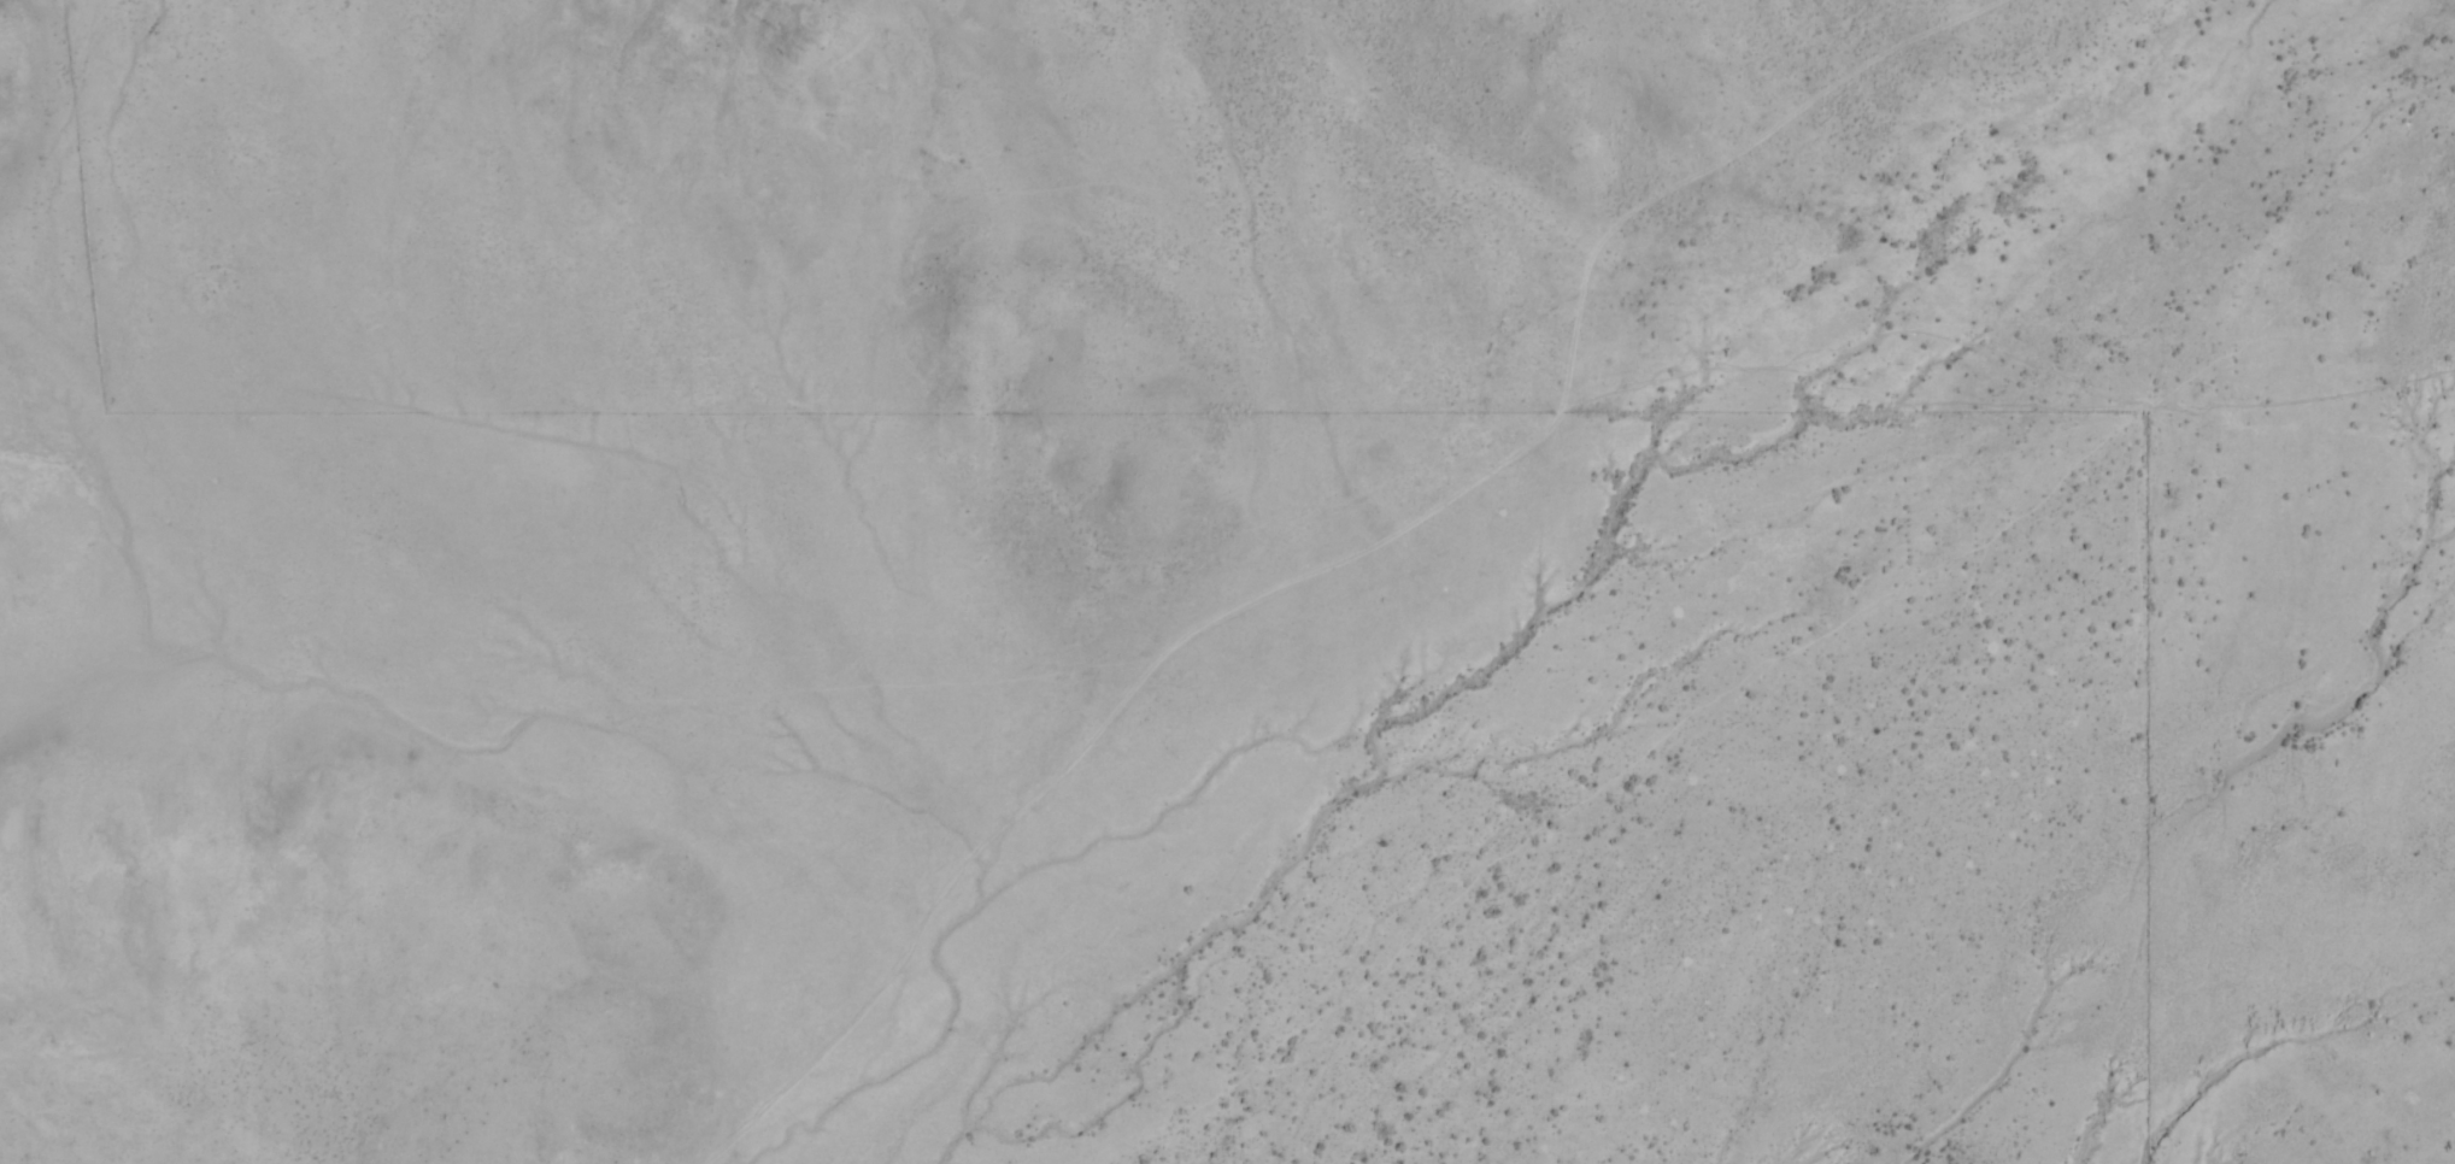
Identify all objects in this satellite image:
river: (1638, 672)

